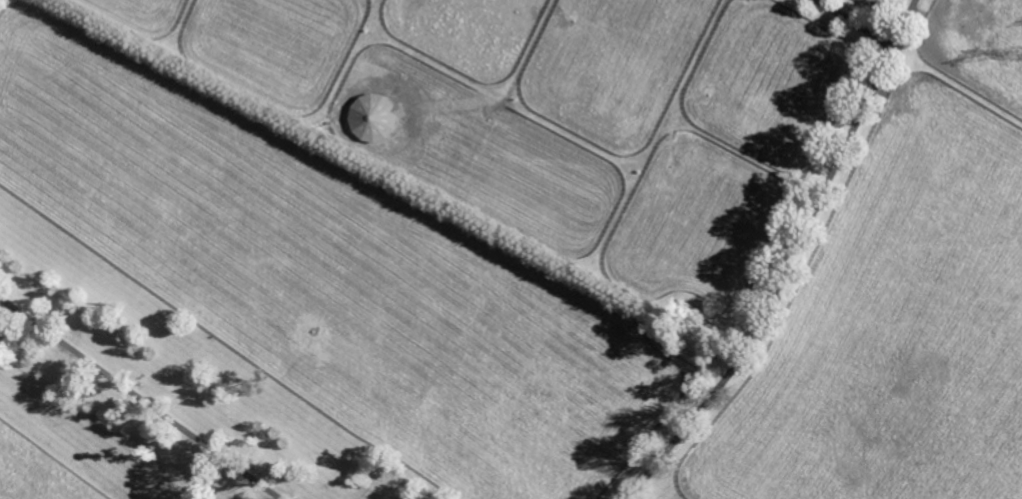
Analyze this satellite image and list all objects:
road: (856, 20)
road: (796, 260)
road: (140, 397)

